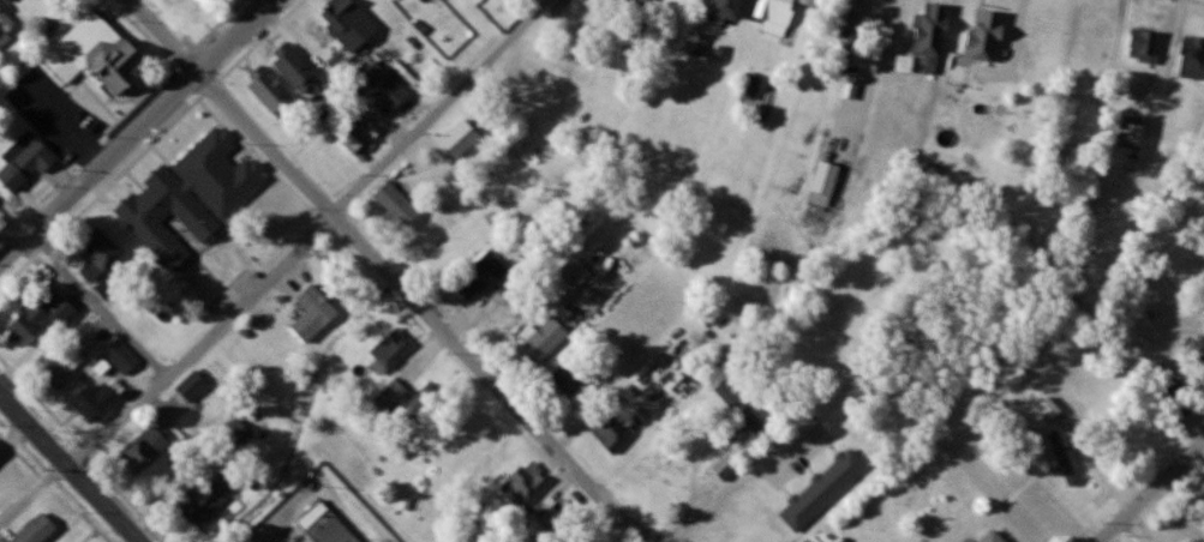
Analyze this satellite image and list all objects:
building: (598, 0)
building: (12, 1)
building: (636, 2)
building: (726, 12)
building: (851, 12)
building: (779, 17)
building: (347, 23)
building: (5, 26)
building: (930, 30)
building: (984, 36)
road: (881, 40)
building: (697, 44)
building: (1143, 46)
building: (1100, 47)
building: (96, 55)
building: (1192, 58)
building: (293, 68)
building: (384, 86)
building: (269, 91)
road: (138, 130)
building: (1132, 132)
building: (460, 140)
building: (206, 153)
building: (24, 162)
building: (825, 183)
building: (397, 204)
building: (143, 217)
road: (313, 235)
building: (101, 251)
road: (384, 271)
building: (573, 271)
building: (472, 281)
road: (83, 284)
building: (40, 314)
building: (313, 314)
building: (541, 342)
building: (390, 350)
building: (122, 359)
building: (55, 369)
building: (567, 380)
building: (193, 387)
road: (36, 392)
building: (733, 395)
building: (393, 396)
building: (94, 403)
building: (424, 403)
building: (1050, 409)
building: (613, 432)
building: (148, 448)
building: (1065, 458)
building: (725, 466)
road: (70, 468)
building: (527, 484)
road: (729, 488)
road: (1154, 495)
road: (34, 498)
road: (138, 501)
building: (204, 504)
building: (559, 517)
building: (324, 525)
building: (36, 530)
road: (1140, 530)
building: (1011, 541)

